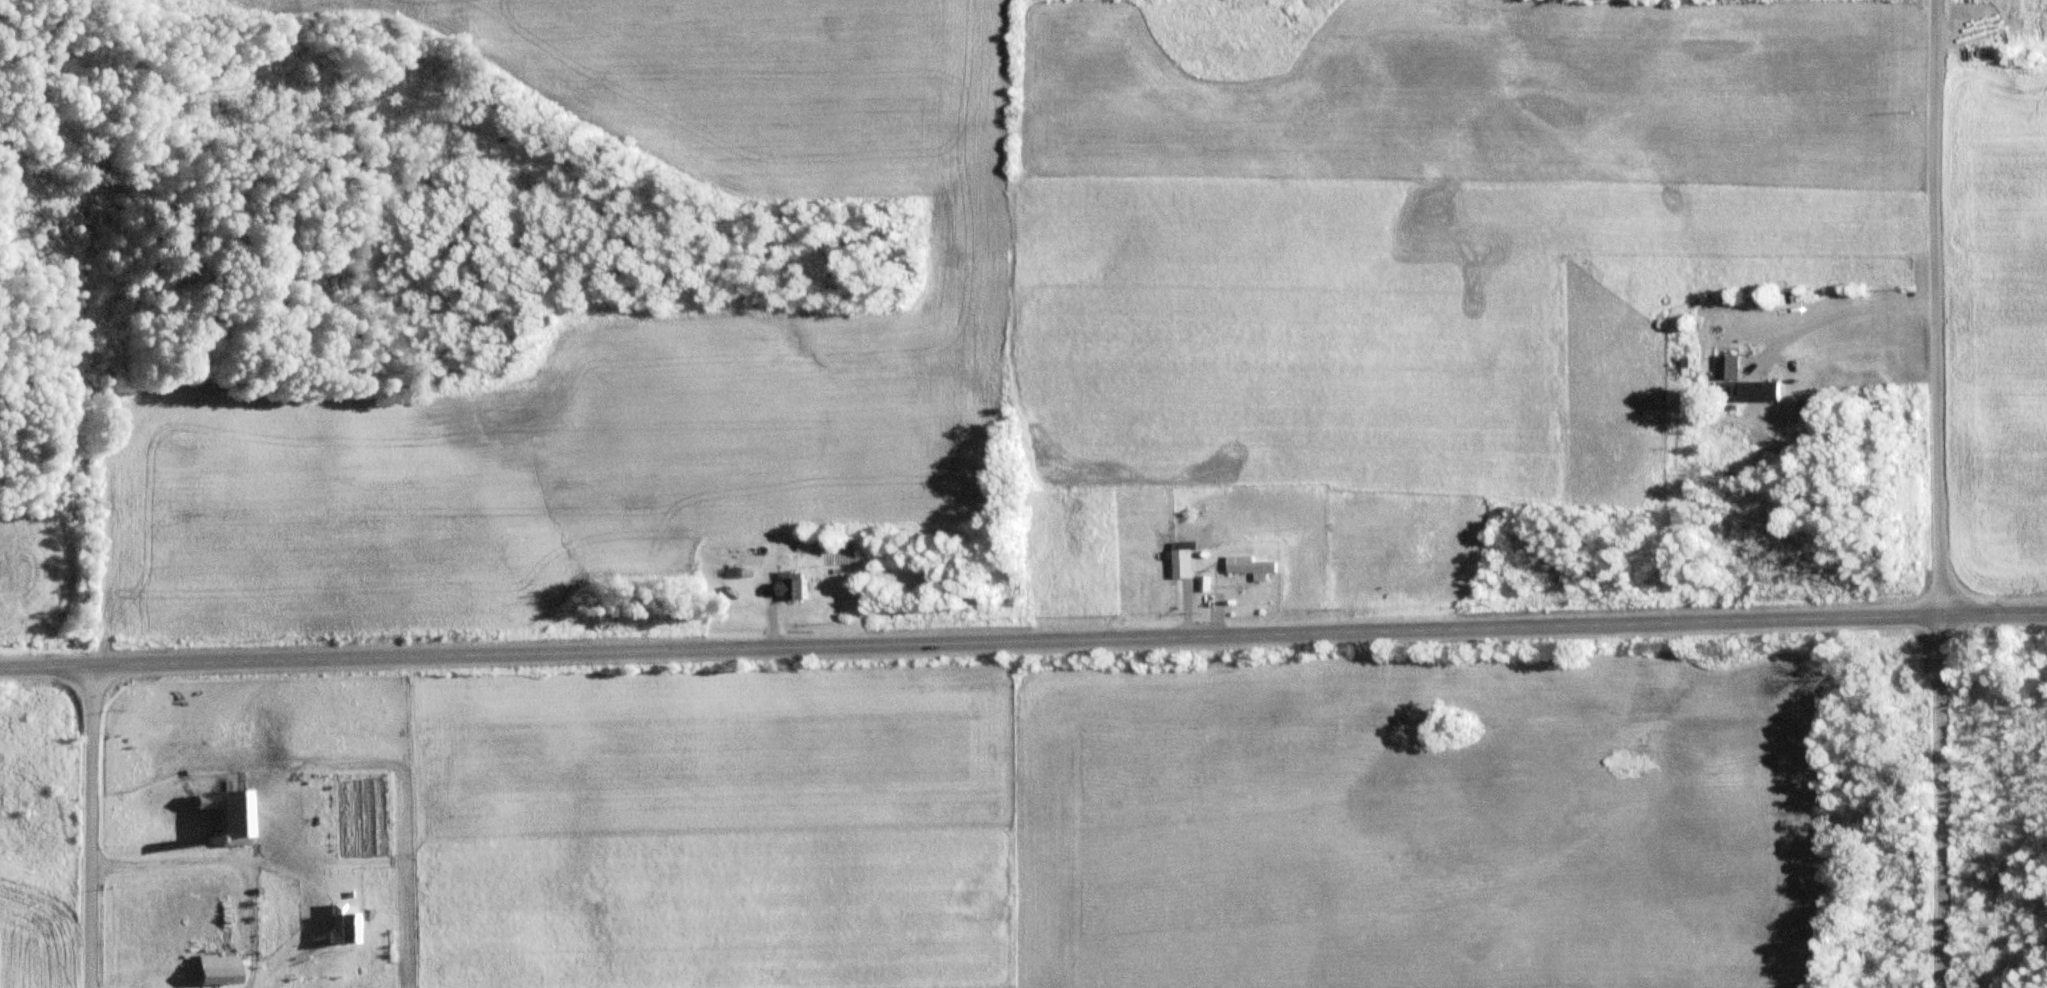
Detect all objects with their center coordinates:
building: (1736, 374)
road: (1938, 493)
building: (1187, 561)
building: (1254, 566)
building: (798, 588)
road: (1023, 646)
building: (226, 813)
road: (86, 829)
road: (263, 858)
building: (346, 931)
building: (220, 970)

